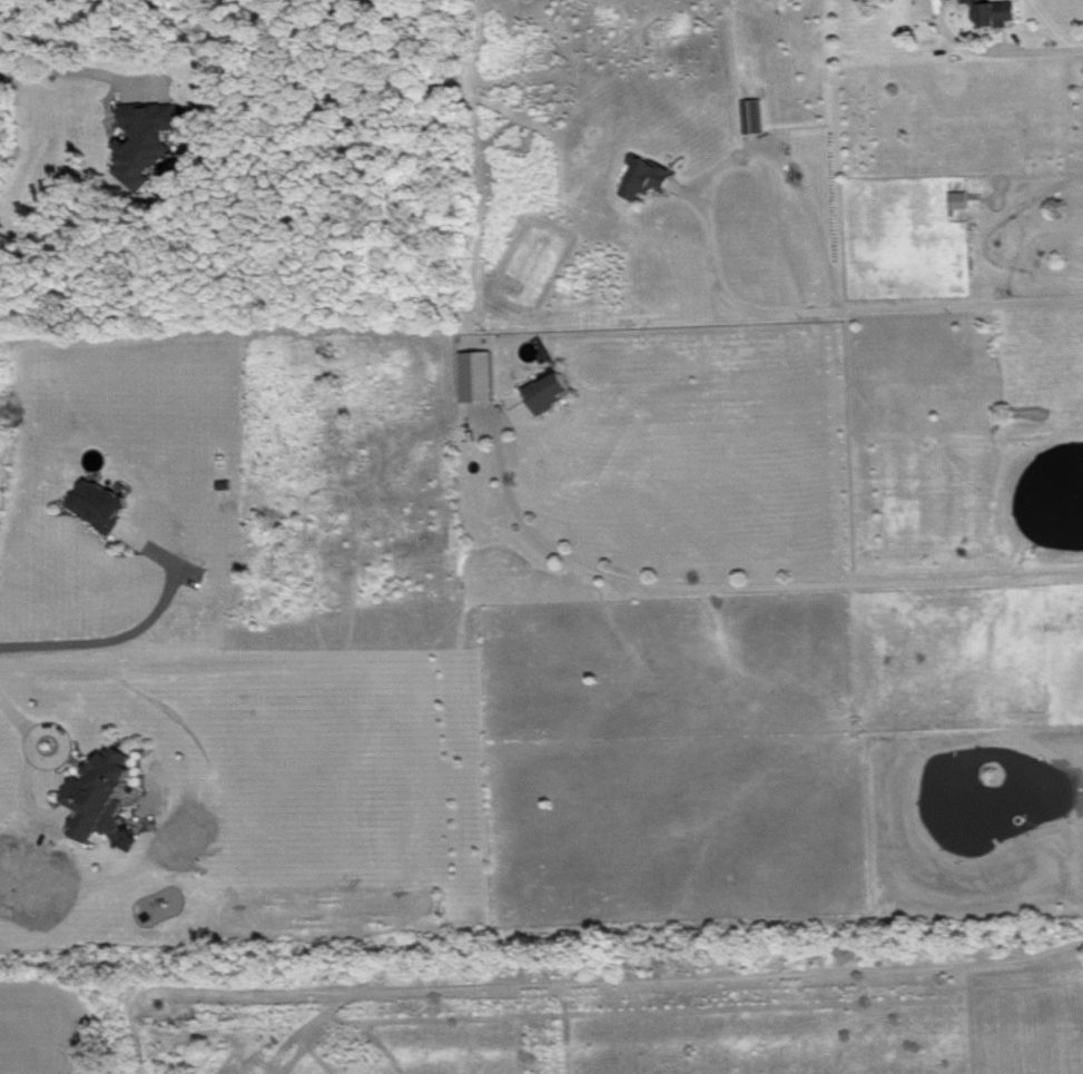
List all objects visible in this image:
building: (994, 11)
road: (993, 51)
road: (61, 71)
building: (958, 198)
road: (844, 309)
building: (557, 393)
building: (106, 505)
road: (736, 587)
road: (134, 639)
road: (33, 756)
building: (110, 799)
road: (664, 977)

